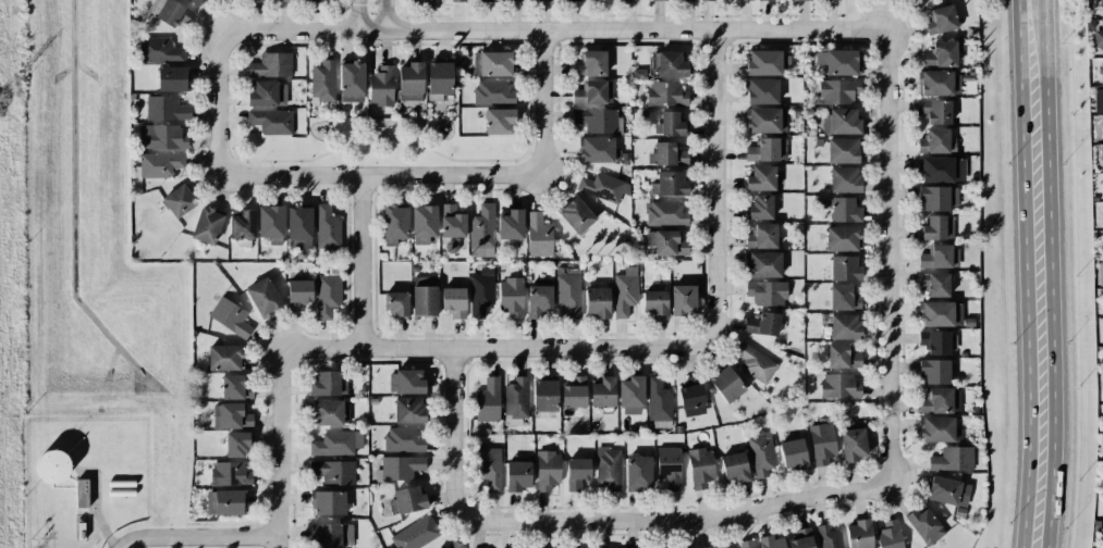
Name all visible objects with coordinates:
building: (317, 0)
building: (457, 0)
building: (514, 0)
building: (572, 0)
building: (601, 0)
building: (630, 0)
building: (653, 0)
building: (707, 0)
building: (745, 0)
building: (804, 0)
building: (256, 1)
building: (285, 1)
building: (487, 1)
building: (195, 2)
building: (917, 2)
building: (170, 12)
road: (357, 16)
road: (387, 16)
building: (941, 20)
road: (555, 30)
building: (1098, 39)
building: (159, 50)
building: (940, 54)
building: (838, 61)
building: (767, 62)
building: (493, 63)
building: (590, 63)
building: (667, 64)
building: (271, 65)
building: (1101, 71)
building: (172, 78)
building: (439, 79)
building: (322, 80)
building: (351, 82)
building: (410, 82)
building: (940, 83)
building: (381, 86)
building: (762, 91)
building: (836, 91)
building: (493, 92)
building: (593, 92)
building: (267, 94)
building: (665, 94)
road: (541, 100)
building: (1098, 100)
road: (219, 104)
building: (166, 108)
building: (934, 111)
building: (596, 120)
building: (767, 120)
building: (271, 121)
building: (499, 121)
building: (841, 121)
building: (671, 124)
building: (1101, 128)
building: (161, 137)
road: (718, 139)
building: (935, 141)
building: (599, 150)
building: (767, 150)
building: (842, 150)
building: (669, 153)
building: (1101, 158)
building: (159, 164)
building: (942, 169)
road: (380, 175)
building: (761, 178)
building: (844, 179)
building: (670, 184)
building: (603, 187)
building: (939, 197)
building: (179, 201)
building: (759, 208)
building: (844, 210)
building: (665, 213)
building: (576, 215)
building: (451, 222)
building: (424, 223)
building: (270, 224)
building: (394, 224)
building: (207, 225)
building: (242, 225)
building: (511, 225)
building: (299, 227)
building: (937, 227)
building: (327, 228)
building: (481, 231)
building: (538, 235)
building: (761, 236)
building: (842, 238)
building: (666, 242)
road: (888, 257)
building: (940, 257)
road: (360, 263)
building: (763, 264)
building: (844, 267)
building: (1100, 273)
road: (1017, 274)
road: (1049, 274)
building: (934, 284)
building: (568, 290)
building: (481, 291)
building: (625, 291)
building: (298, 292)
building: (765, 292)
building: (327, 295)
building: (424, 296)
building: (262, 297)
building: (511, 297)
building: (844, 297)
building: (538, 299)
building: (683, 300)
building: (454, 301)
building: (597, 302)
building: (655, 302)
building: (396, 303)
building: (936, 313)
building: (230, 316)
building: (762, 324)
building: (845, 326)
building: (934, 341)
road: (455, 350)
building: (224, 357)
building: (842, 357)
building: (755, 362)
building: (933, 371)
building: (408, 382)
building: (329, 383)
building: (726, 384)
building: (235, 386)
building: (838, 386)
building: (603, 391)
building: (574, 393)
building: (544, 395)
building: (632, 395)
building: (691, 397)
building: (516, 398)
building: (658, 399)
building: (488, 400)
building: (941, 400)
building: (1102, 408)
building: (408, 410)
building: (330, 412)
building: (231, 416)
building: (940, 429)
road: (455, 434)
building: (403, 439)
building: (336, 443)
building: (821, 443)
building: (236, 444)
building: (851, 445)
building: (761, 453)
building: (793, 454)
building: (952, 459)
building: (52, 466)
building: (401, 466)
building: (489, 466)
building: (669, 466)
building: (700, 466)
building: (734, 466)
building: (608, 468)
building: (547, 470)
building: (333, 471)
building: (638, 472)
building: (230, 473)
building: (577, 473)
building: (517, 475)
building: (948, 491)
building: (81, 493)
building: (407, 500)
building: (229, 502)
building: (329, 502)
road: (679, 519)
building: (924, 525)
building: (416, 533)
building: (332, 534)
building: (859, 534)
building: (888, 535)
road: (196, 536)
building: (828, 537)
building: (801, 539)
road: (277, 541)
building: (770, 541)
building: (747, 544)
building: (454, 545)
building: (437, 547)
building: (695, 547)
building: (710, 547)

